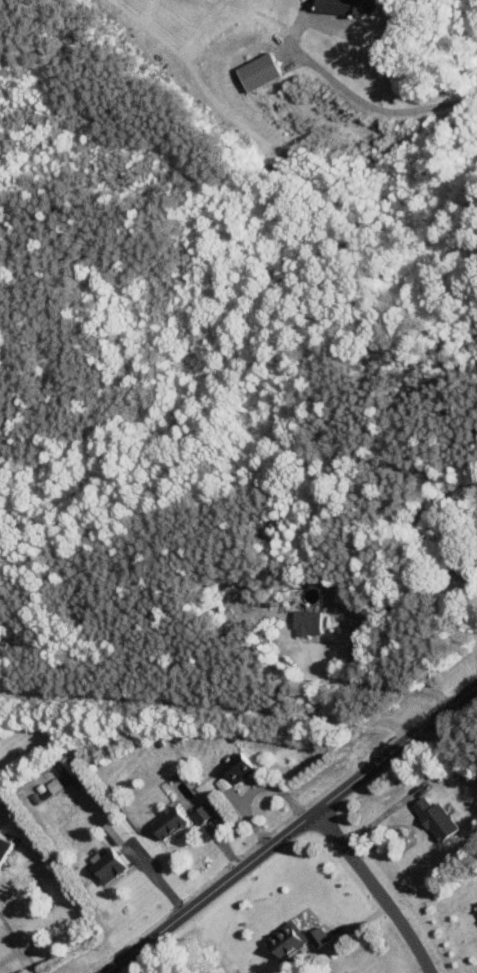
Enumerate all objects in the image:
building: (346, 6)
building: (257, 72)
road: (369, 105)
building: (306, 621)
road: (380, 686)
building: (237, 767)
building: (221, 783)
building: (201, 813)
building: (434, 817)
building: (169, 821)
road: (290, 830)
building: (4, 845)
building: (106, 866)
road: (152, 877)
road: (374, 890)
building: (476, 908)
building: (317, 936)
building: (285, 940)

